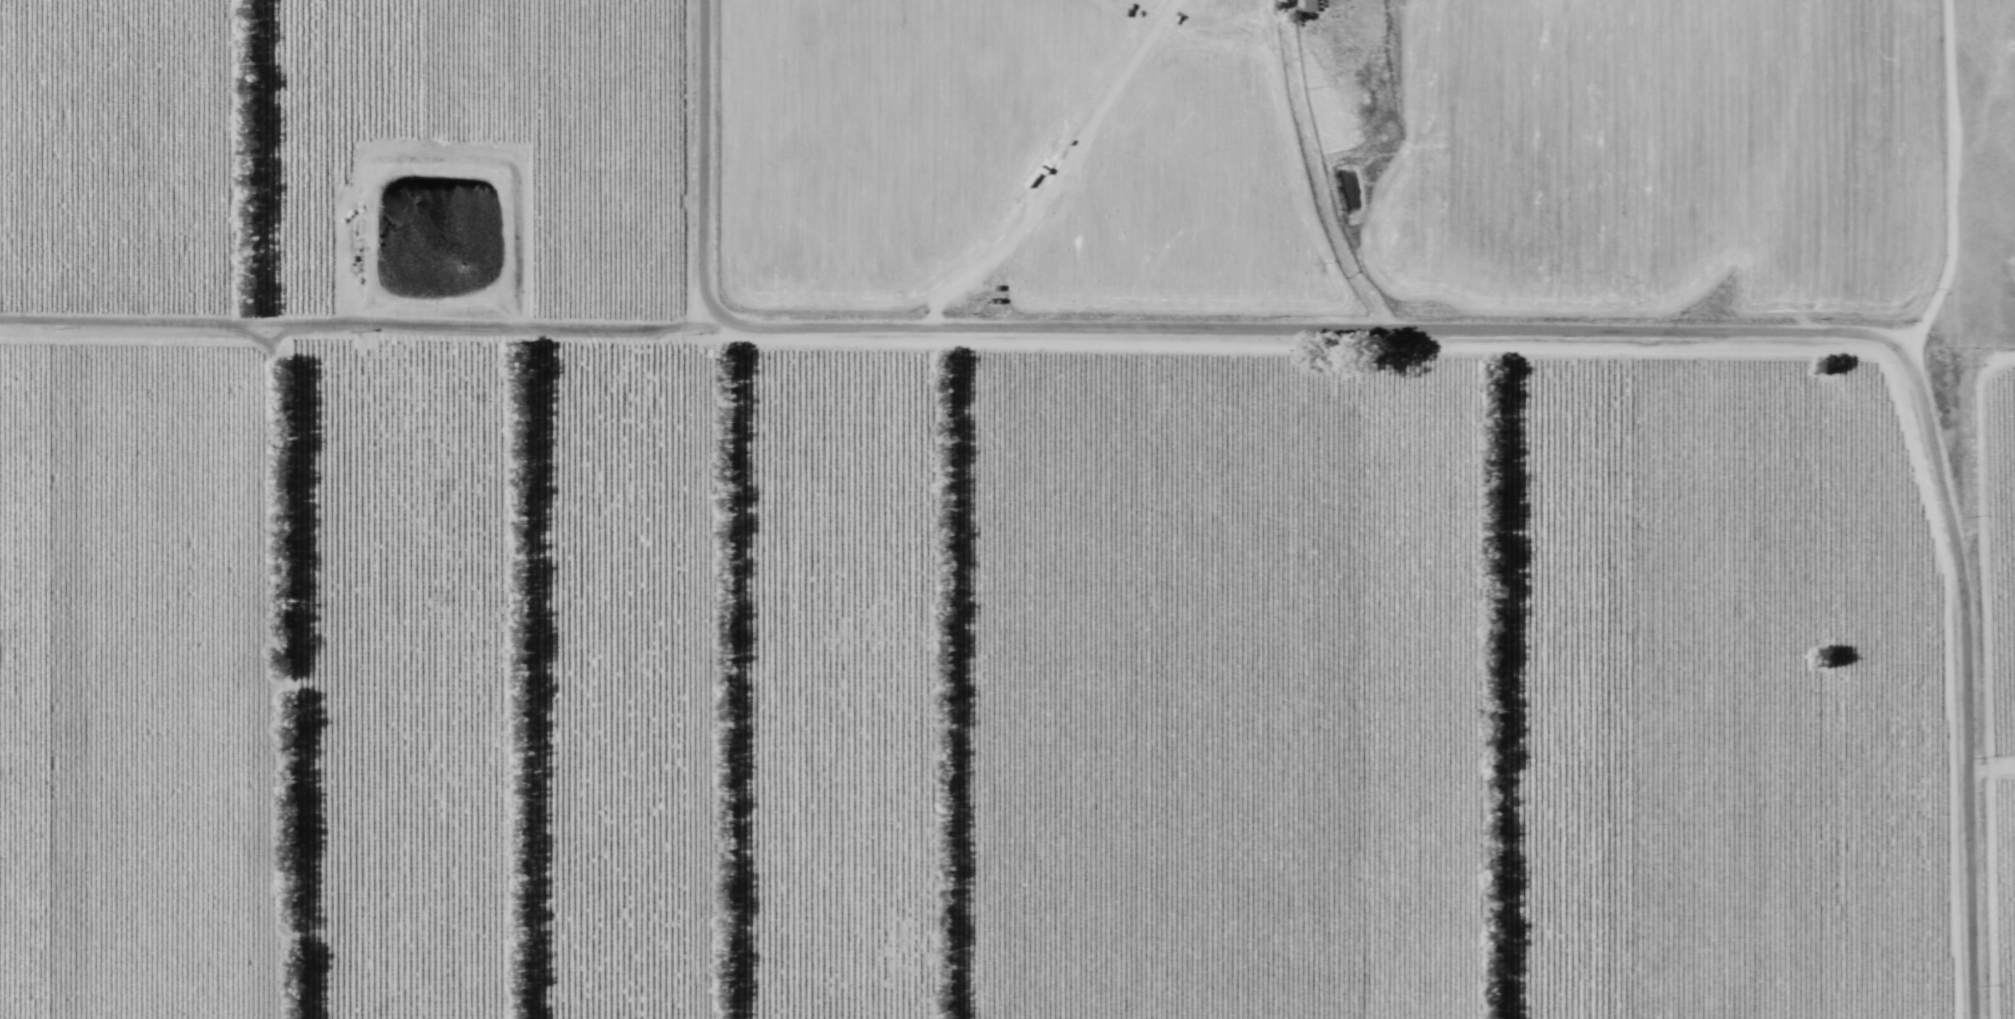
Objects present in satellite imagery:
building: (1313, 6)
road: (706, 164)
road: (1952, 182)
wastewater plant: (437, 247)
road: (359, 329)
road: (1648, 339)
crop: (907, 607)
road: (284, 674)

